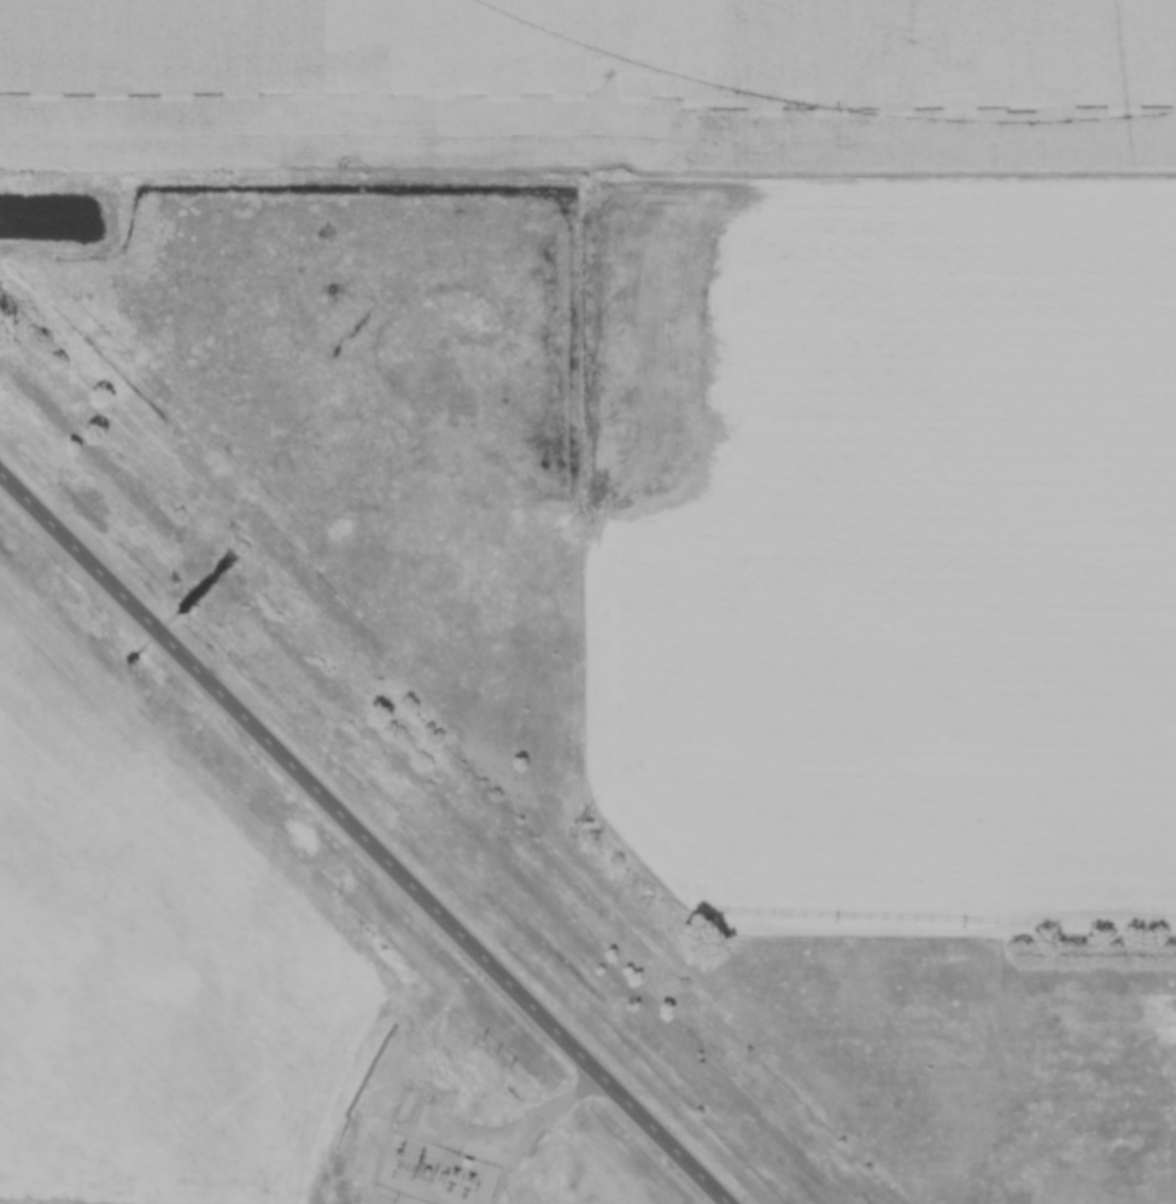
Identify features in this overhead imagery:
road: (364, 838)
road: (530, 1129)
power tower: (340, 1138)
power tower: (397, 1156)
power tower: (416, 1161)
power substation: (438, 1171)

